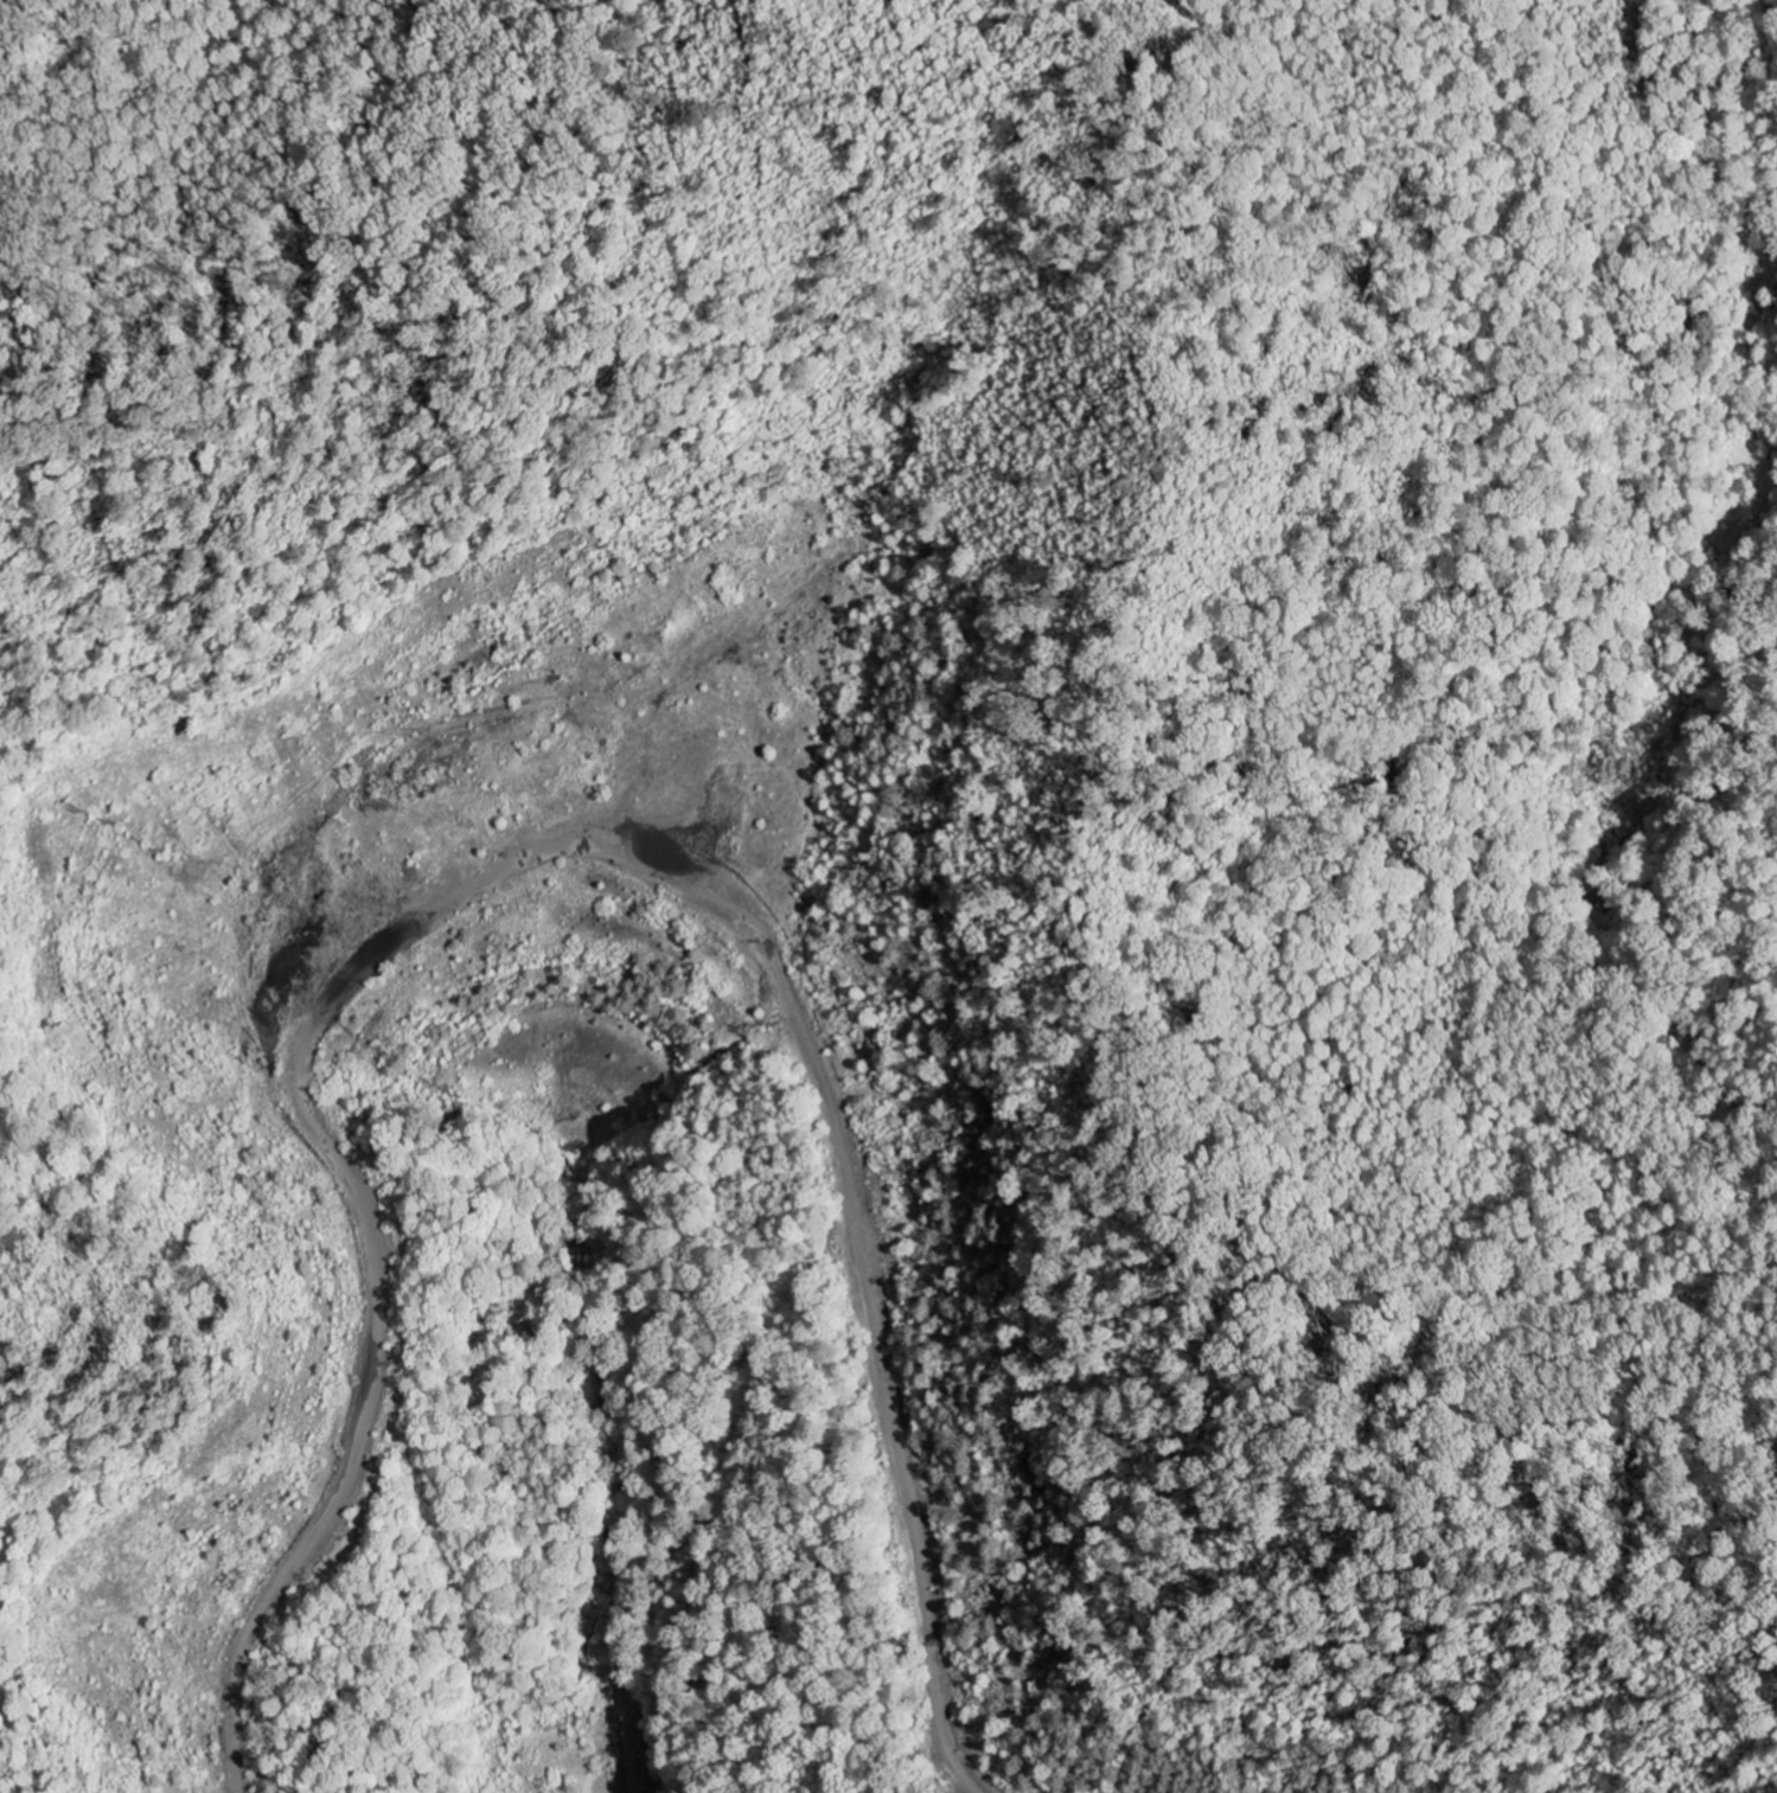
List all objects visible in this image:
road: (1771, 36)
road: (1771, 374)

